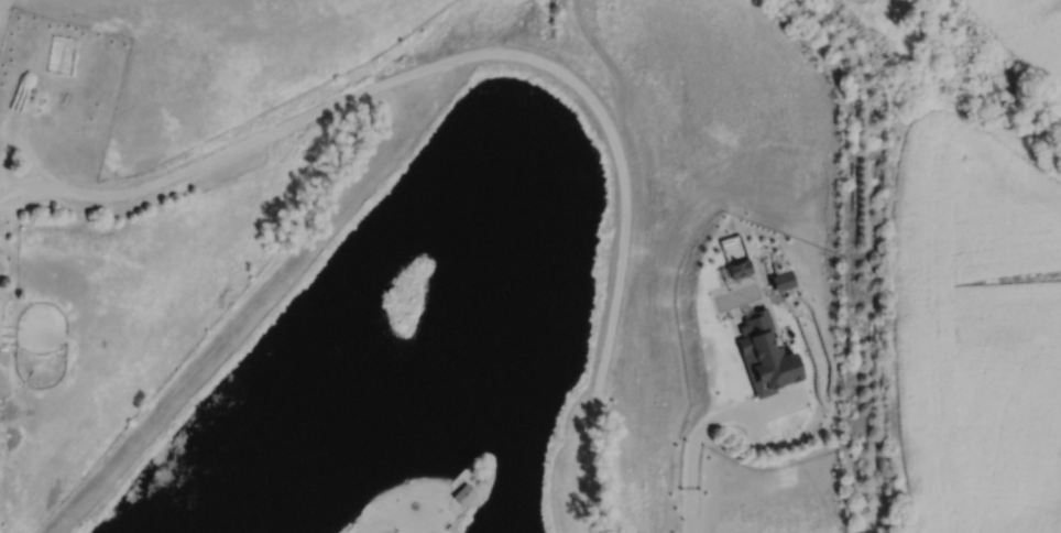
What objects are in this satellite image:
road: (508, 53)
building: (0, 303)
building: (775, 361)
road: (696, 443)
building: (464, 496)

